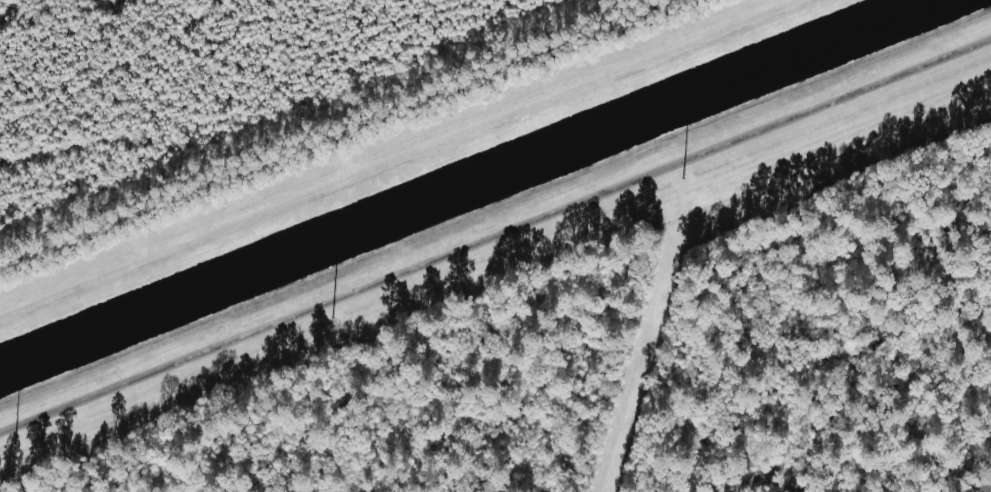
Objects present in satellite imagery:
road: (495, 235)

